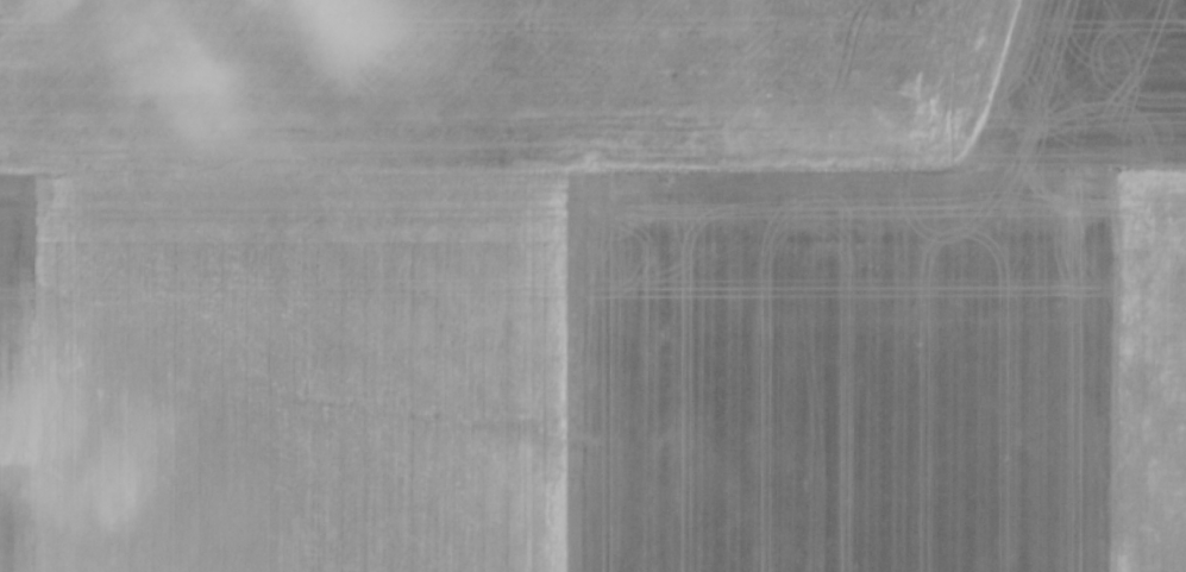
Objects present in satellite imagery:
crop: (592, 285)

